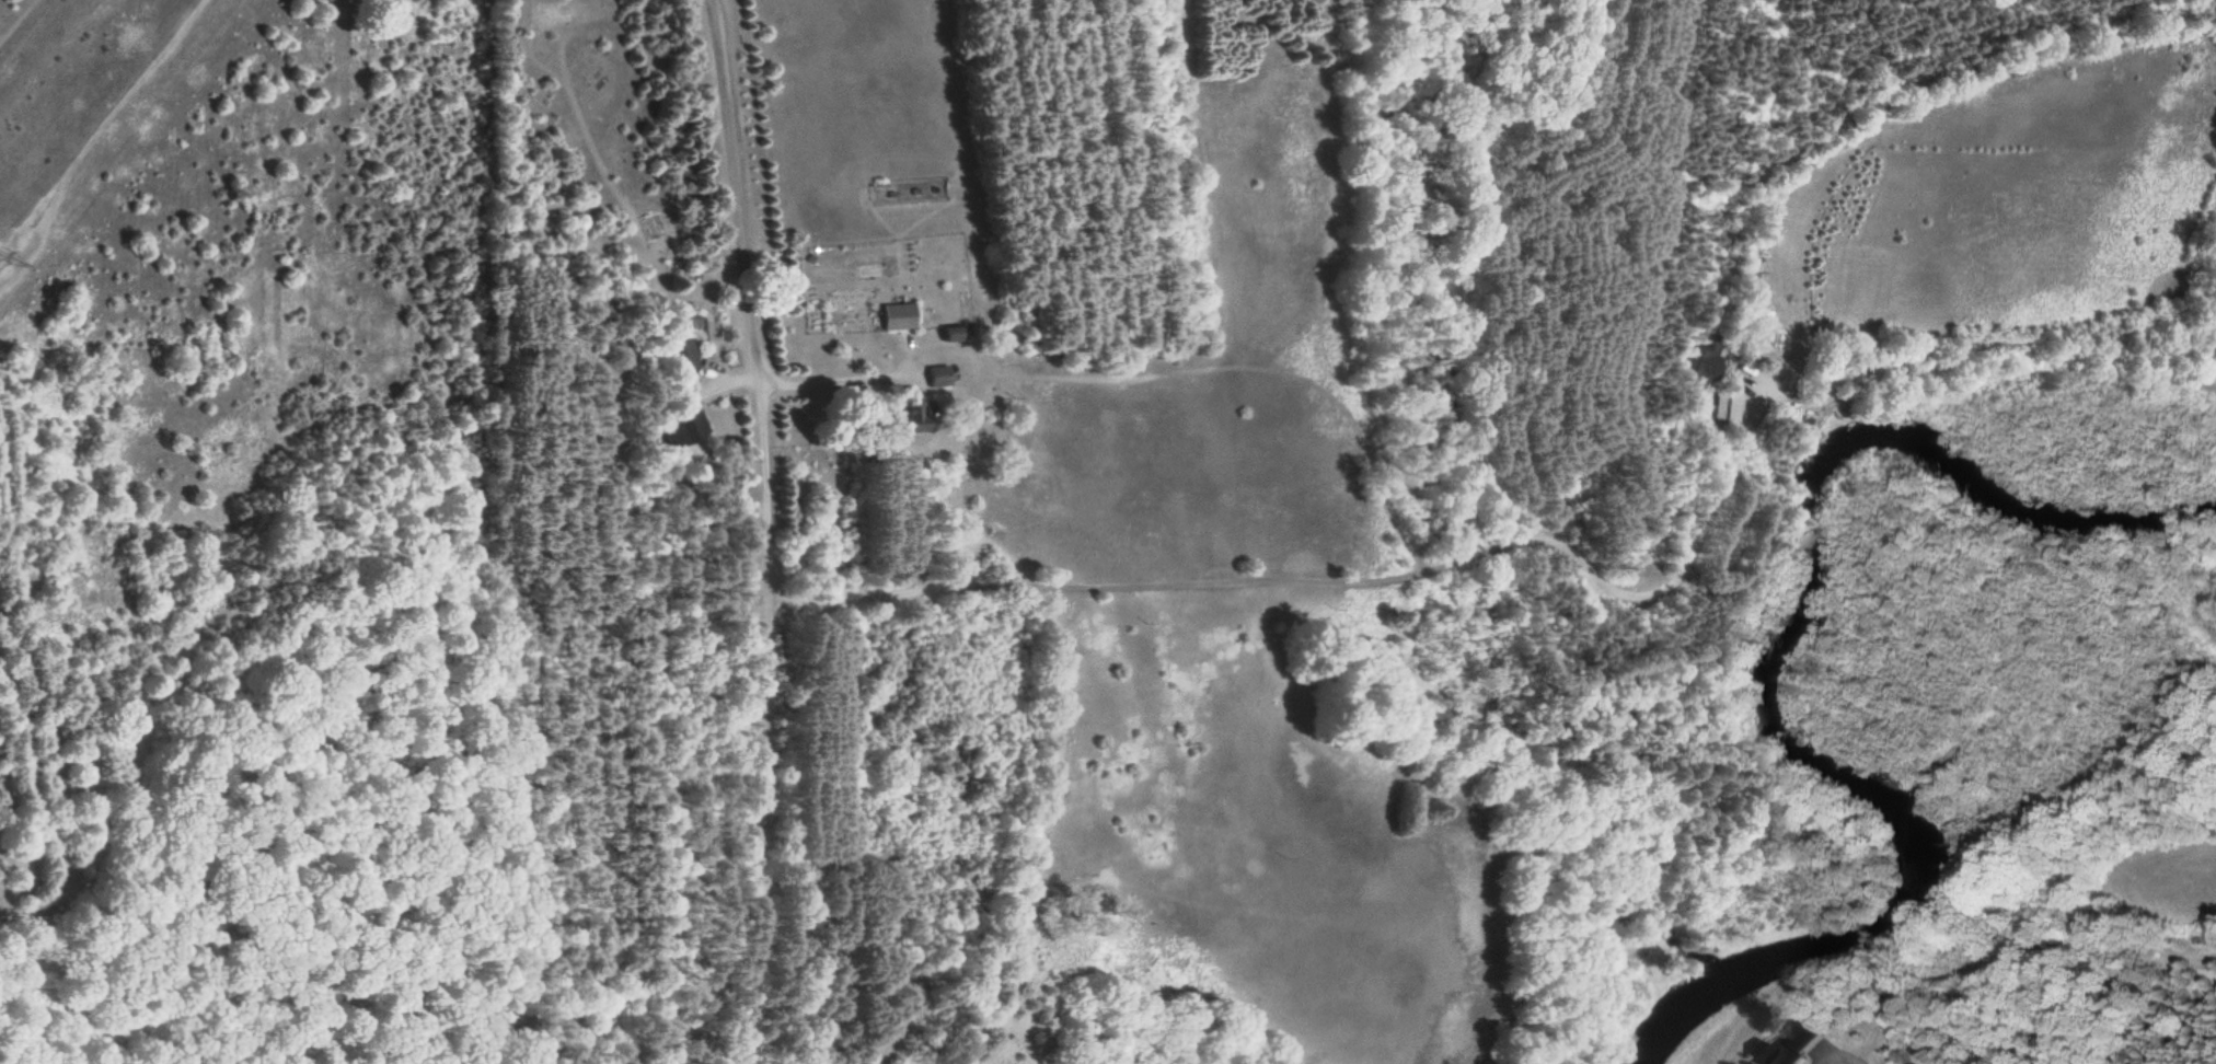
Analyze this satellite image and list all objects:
road: (746, 284)
building: (892, 317)
building: (942, 336)
building: (678, 357)
building: (1694, 360)
road: (832, 381)
building: (903, 414)
building: (681, 429)
road: (1328, 579)
river: (1770, 668)

